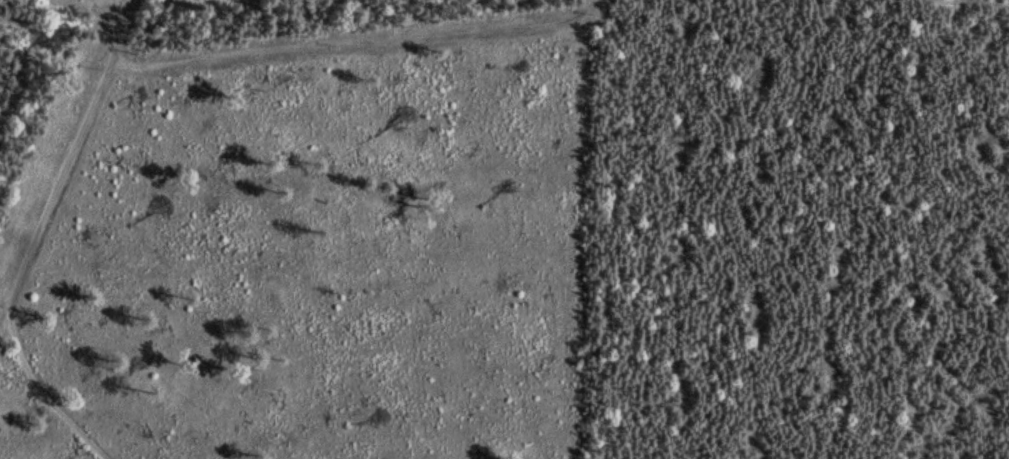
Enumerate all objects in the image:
road: (975, 5)
road: (124, 31)
road: (359, 41)
road: (57, 199)
road: (40, 397)

